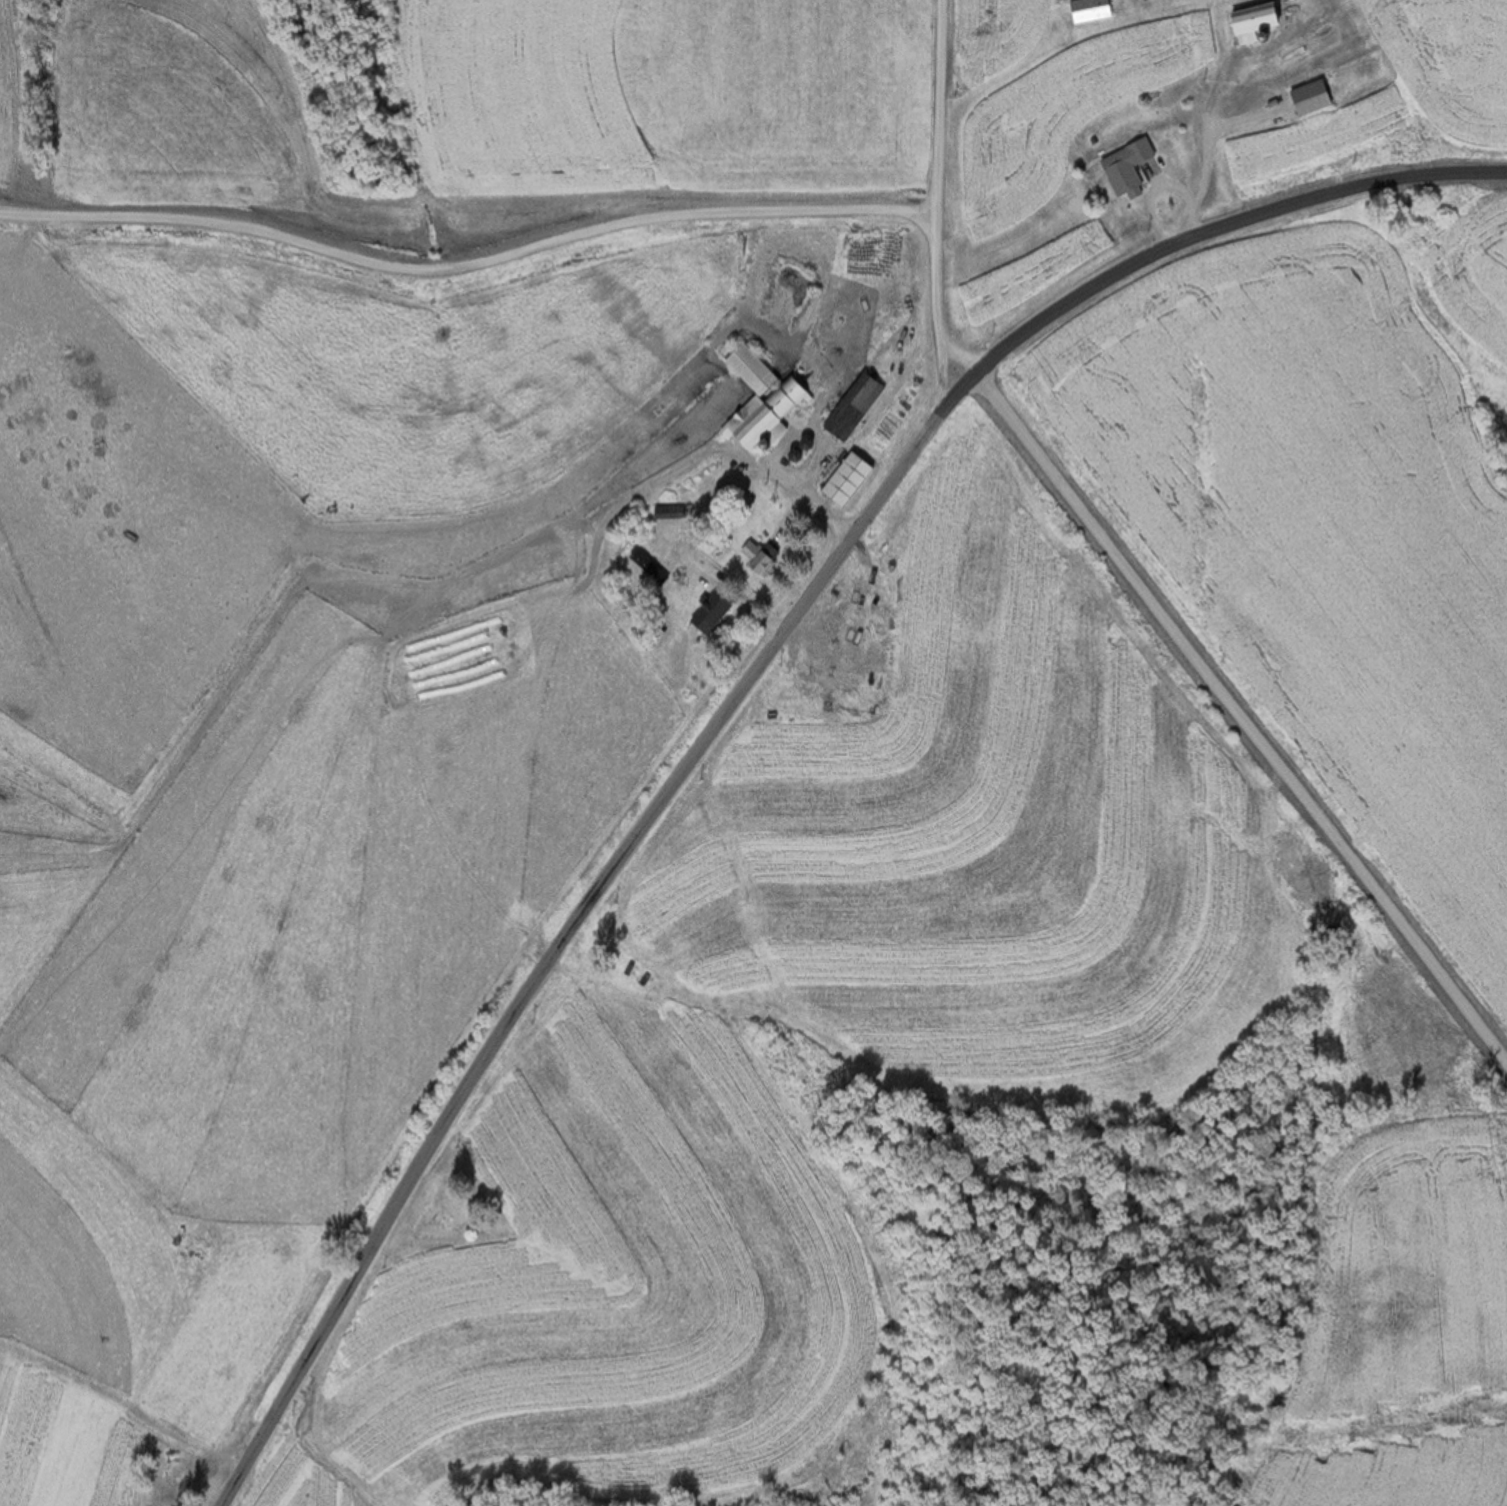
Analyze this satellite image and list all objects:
building: (1094, 11)
building: (1263, 23)
building: (1309, 50)
building: (1253, 70)
building: (1330, 88)
building: (1133, 157)
road: (936, 194)
road: (468, 264)
building: (767, 401)
building: (859, 405)
building: (804, 450)
building: (854, 478)
building: (672, 512)
building: (764, 556)
building: (651, 566)
building: (715, 612)
road: (742, 685)
road: (1241, 719)
park: (448, 1209)

